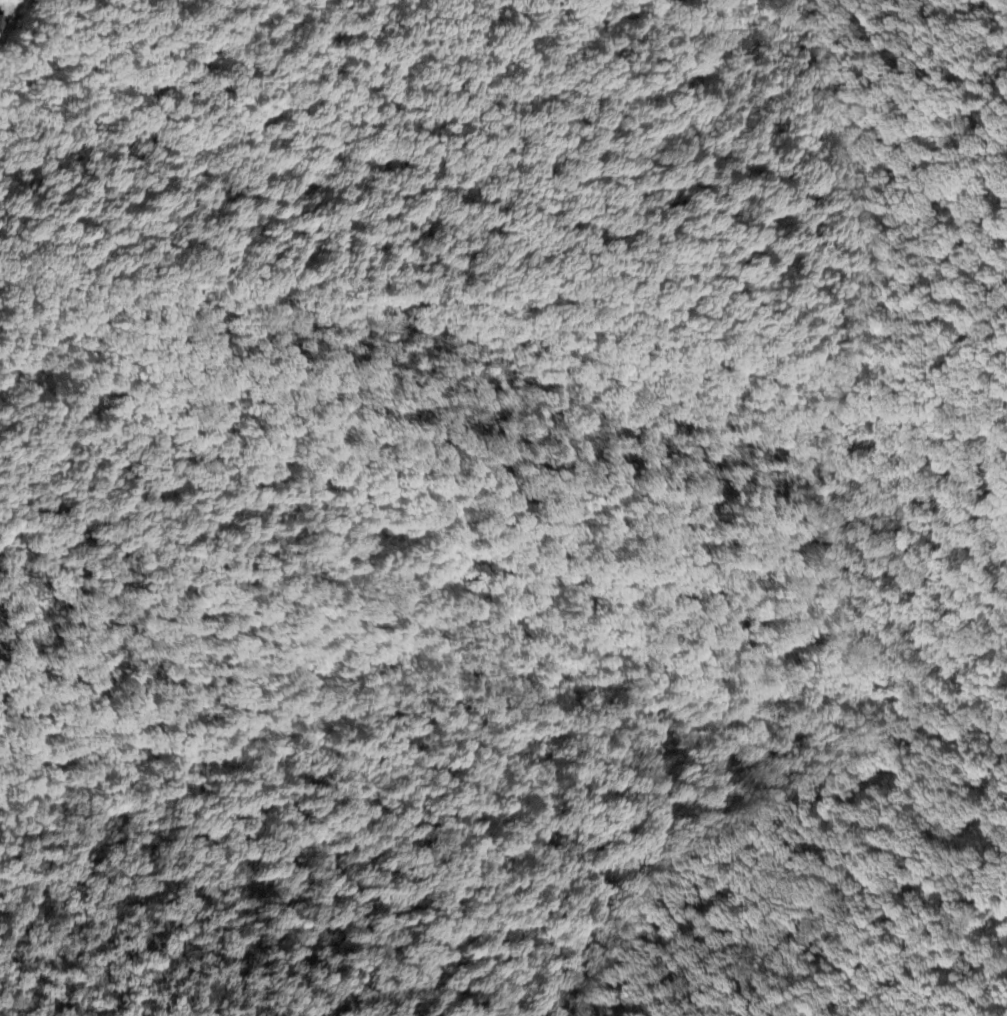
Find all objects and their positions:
building: (1, 21)
road: (736, 172)
road: (529, 343)
road: (863, 714)

